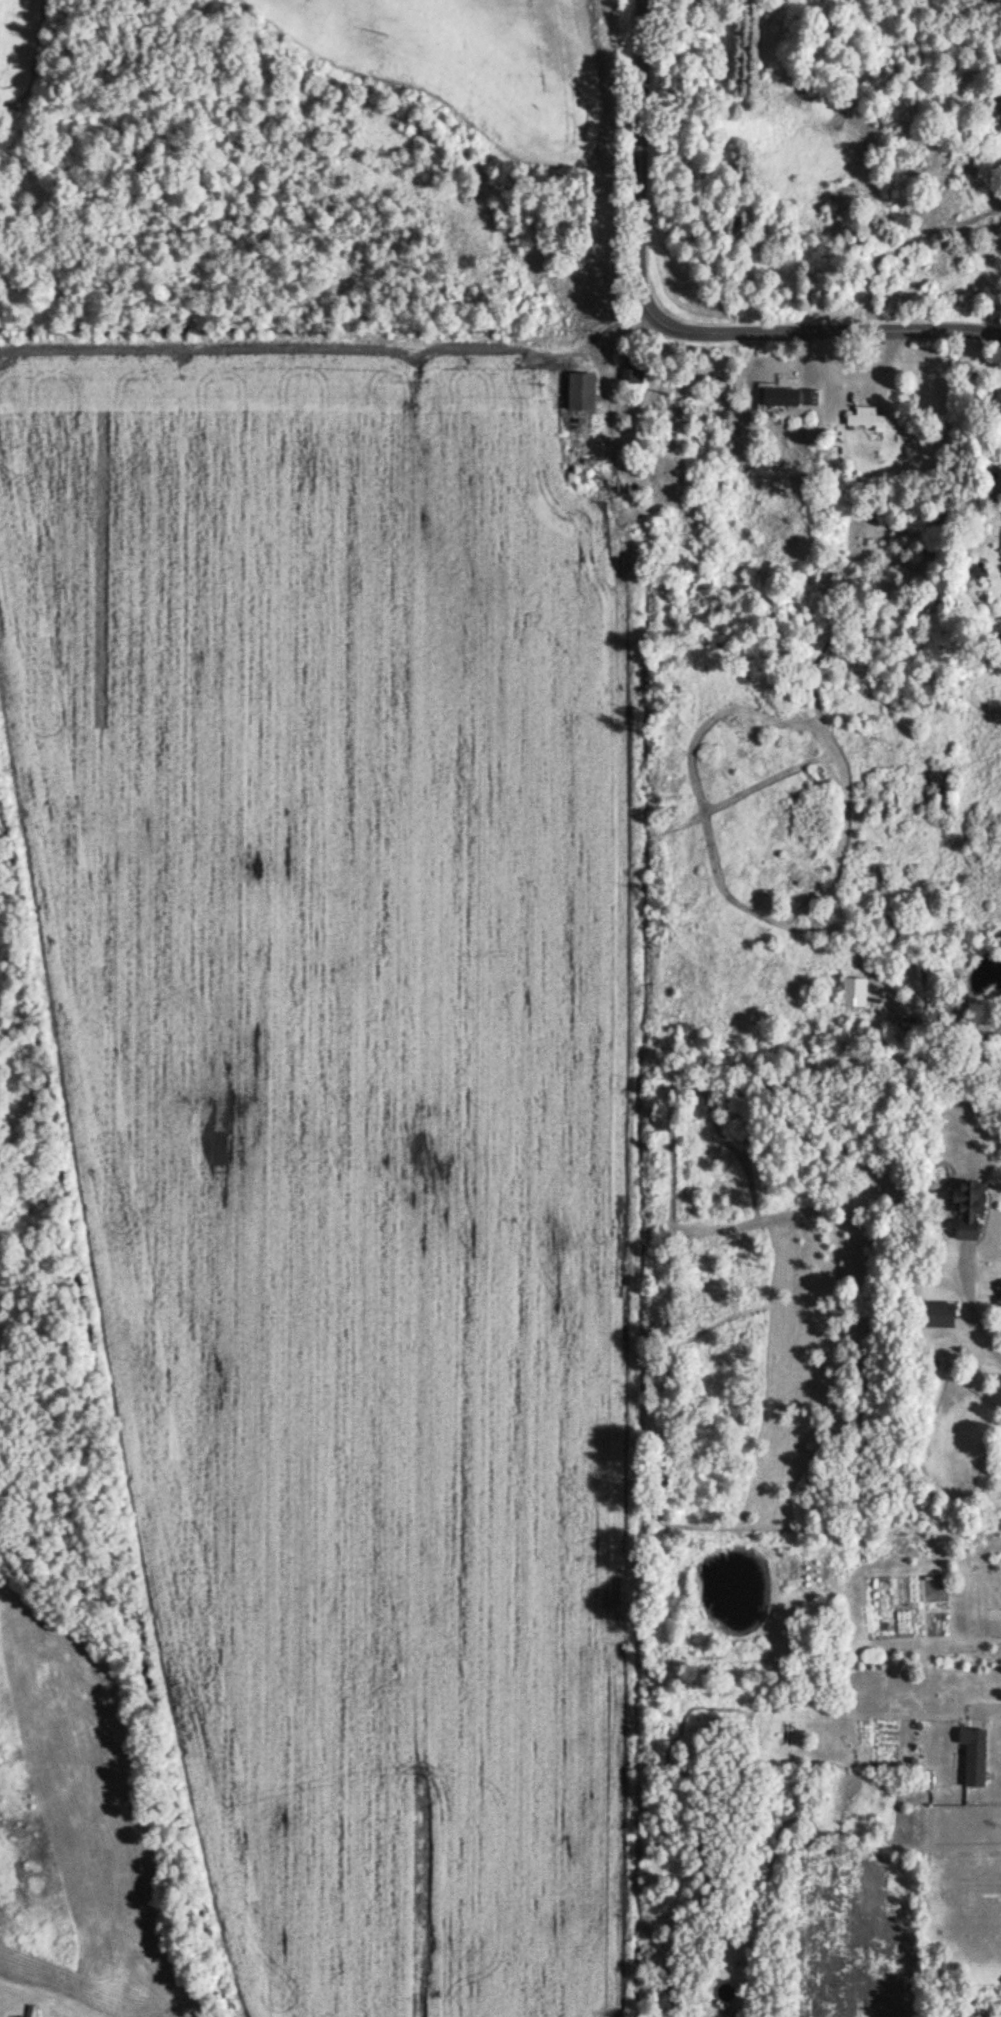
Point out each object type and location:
road: (663, 329)
road: (600, 335)
road: (601, 365)
building: (633, 372)
building: (582, 393)
building: (781, 399)
building: (809, 399)
building: (657, 417)
building: (870, 421)
building: (681, 444)
building: (920, 975)
building: (854, 993)
building: (970, 1209)
road: (974, 1314)
building: (940, 1316)
road: (992, 1692)
building: (974, 1757)
building: (30, 2012)

